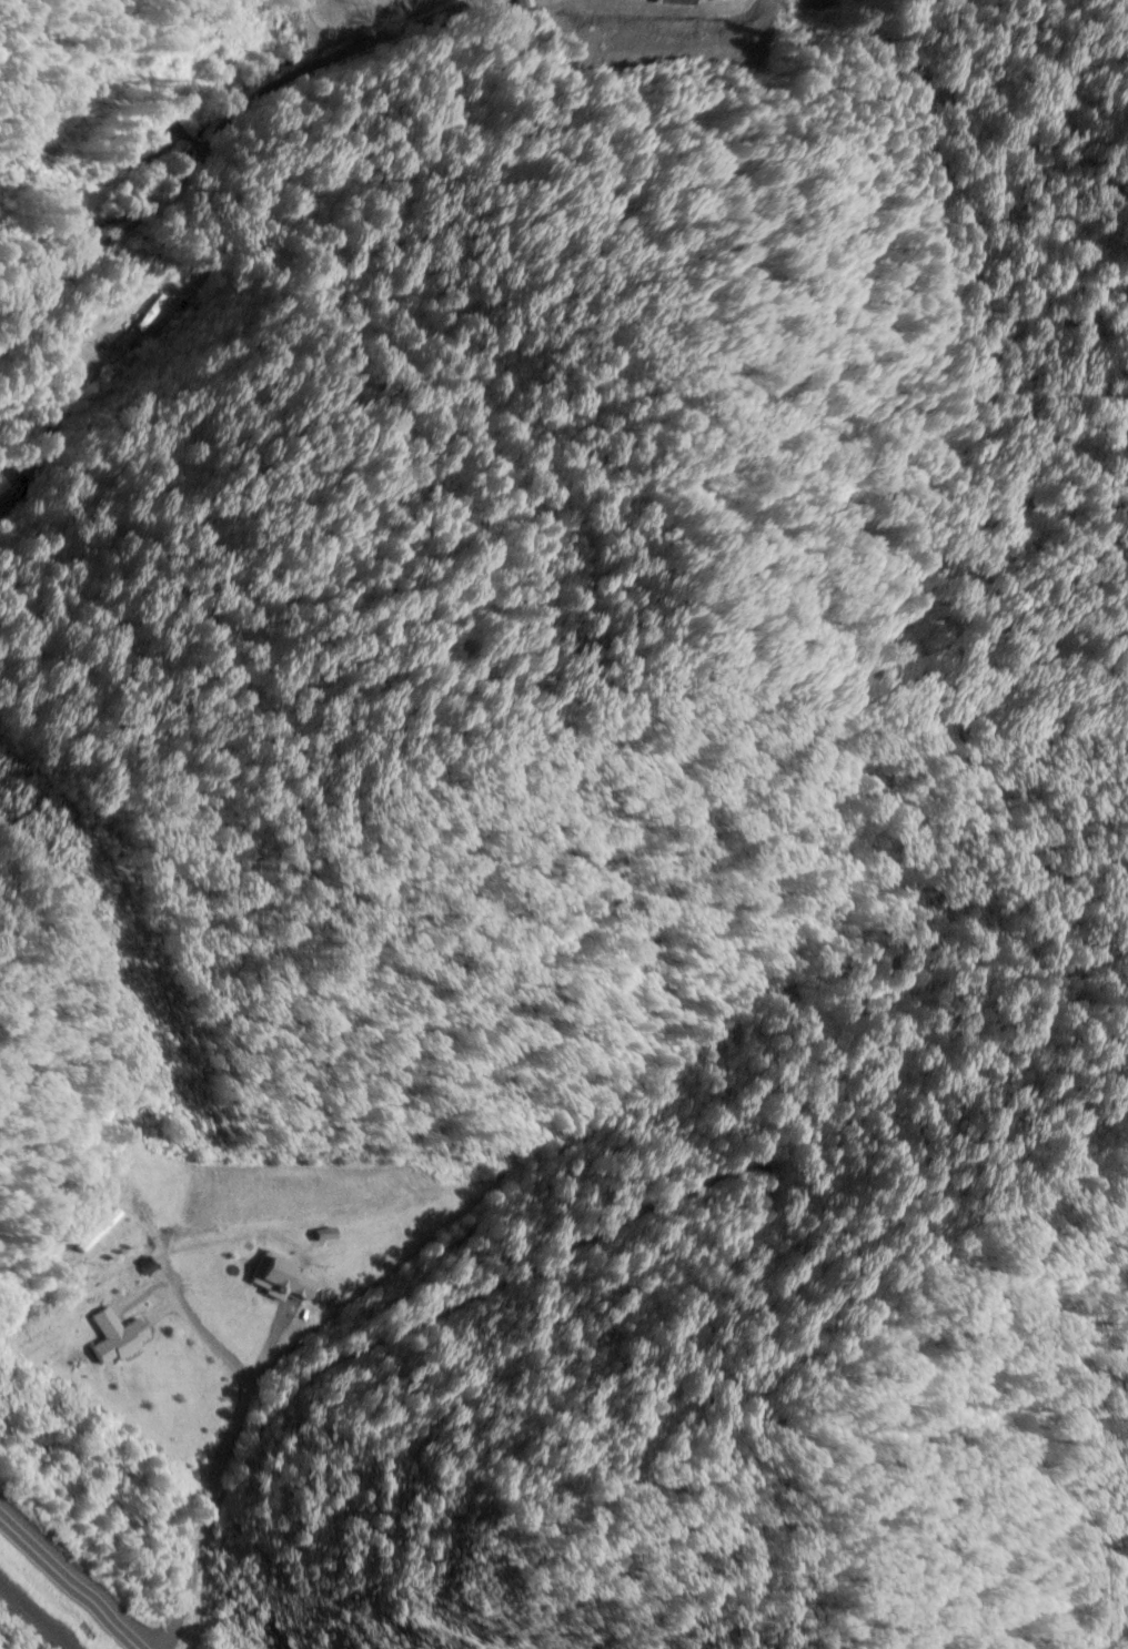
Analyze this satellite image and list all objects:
road: (294, 31)
road: (199, 141)
road: (72, 1584)

